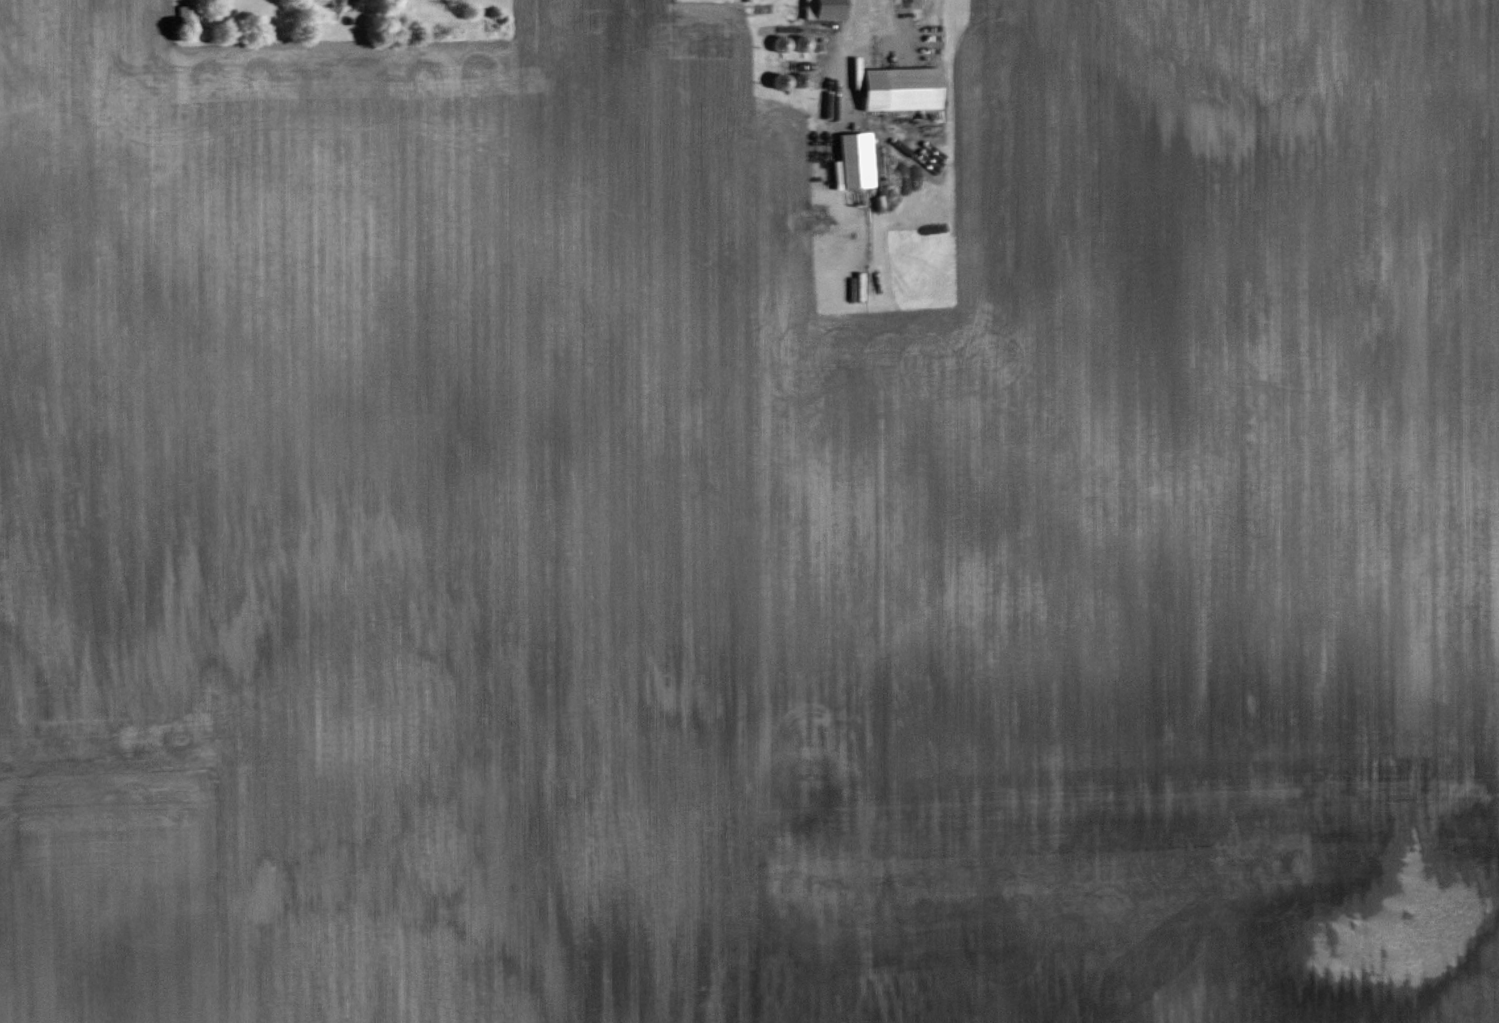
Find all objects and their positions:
building: (824, 9)
building: (187, 14)
road: (878, 17)
building: (900, 89)
building: (855, 161)

